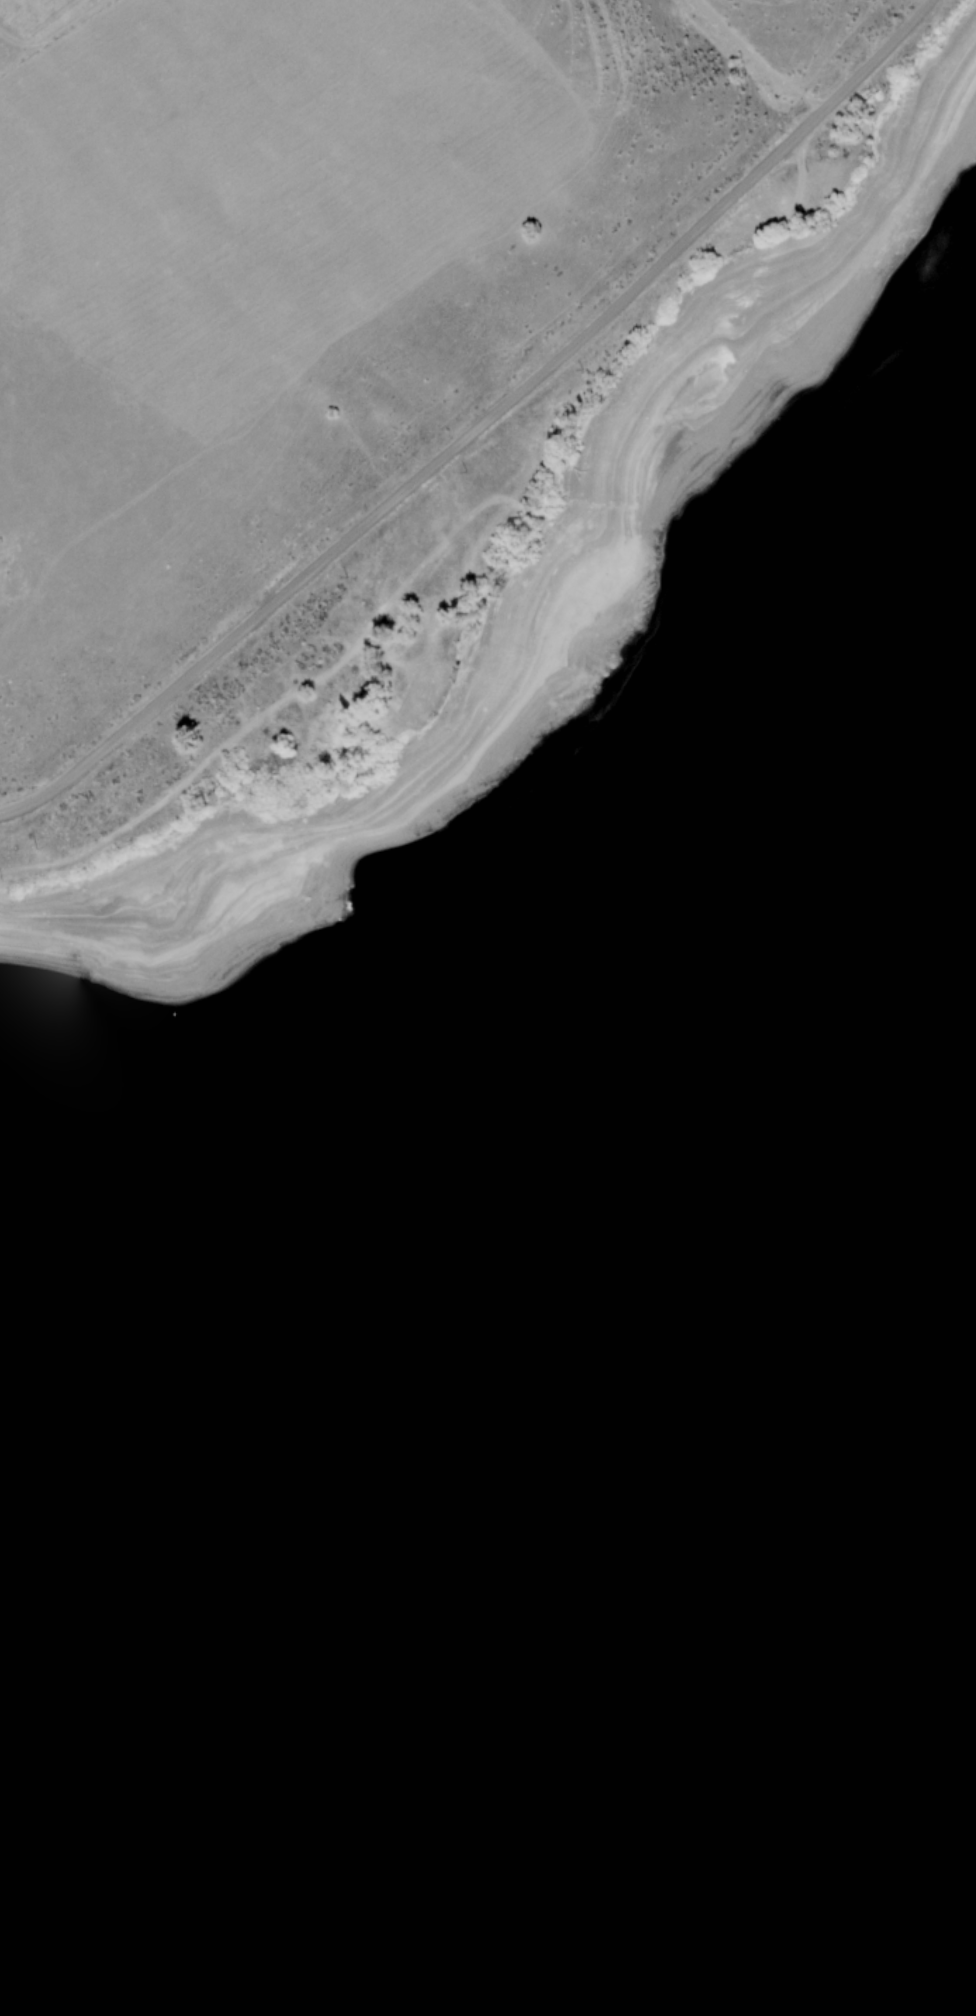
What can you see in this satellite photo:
road: (480, 425)
river: (961, 1985)

